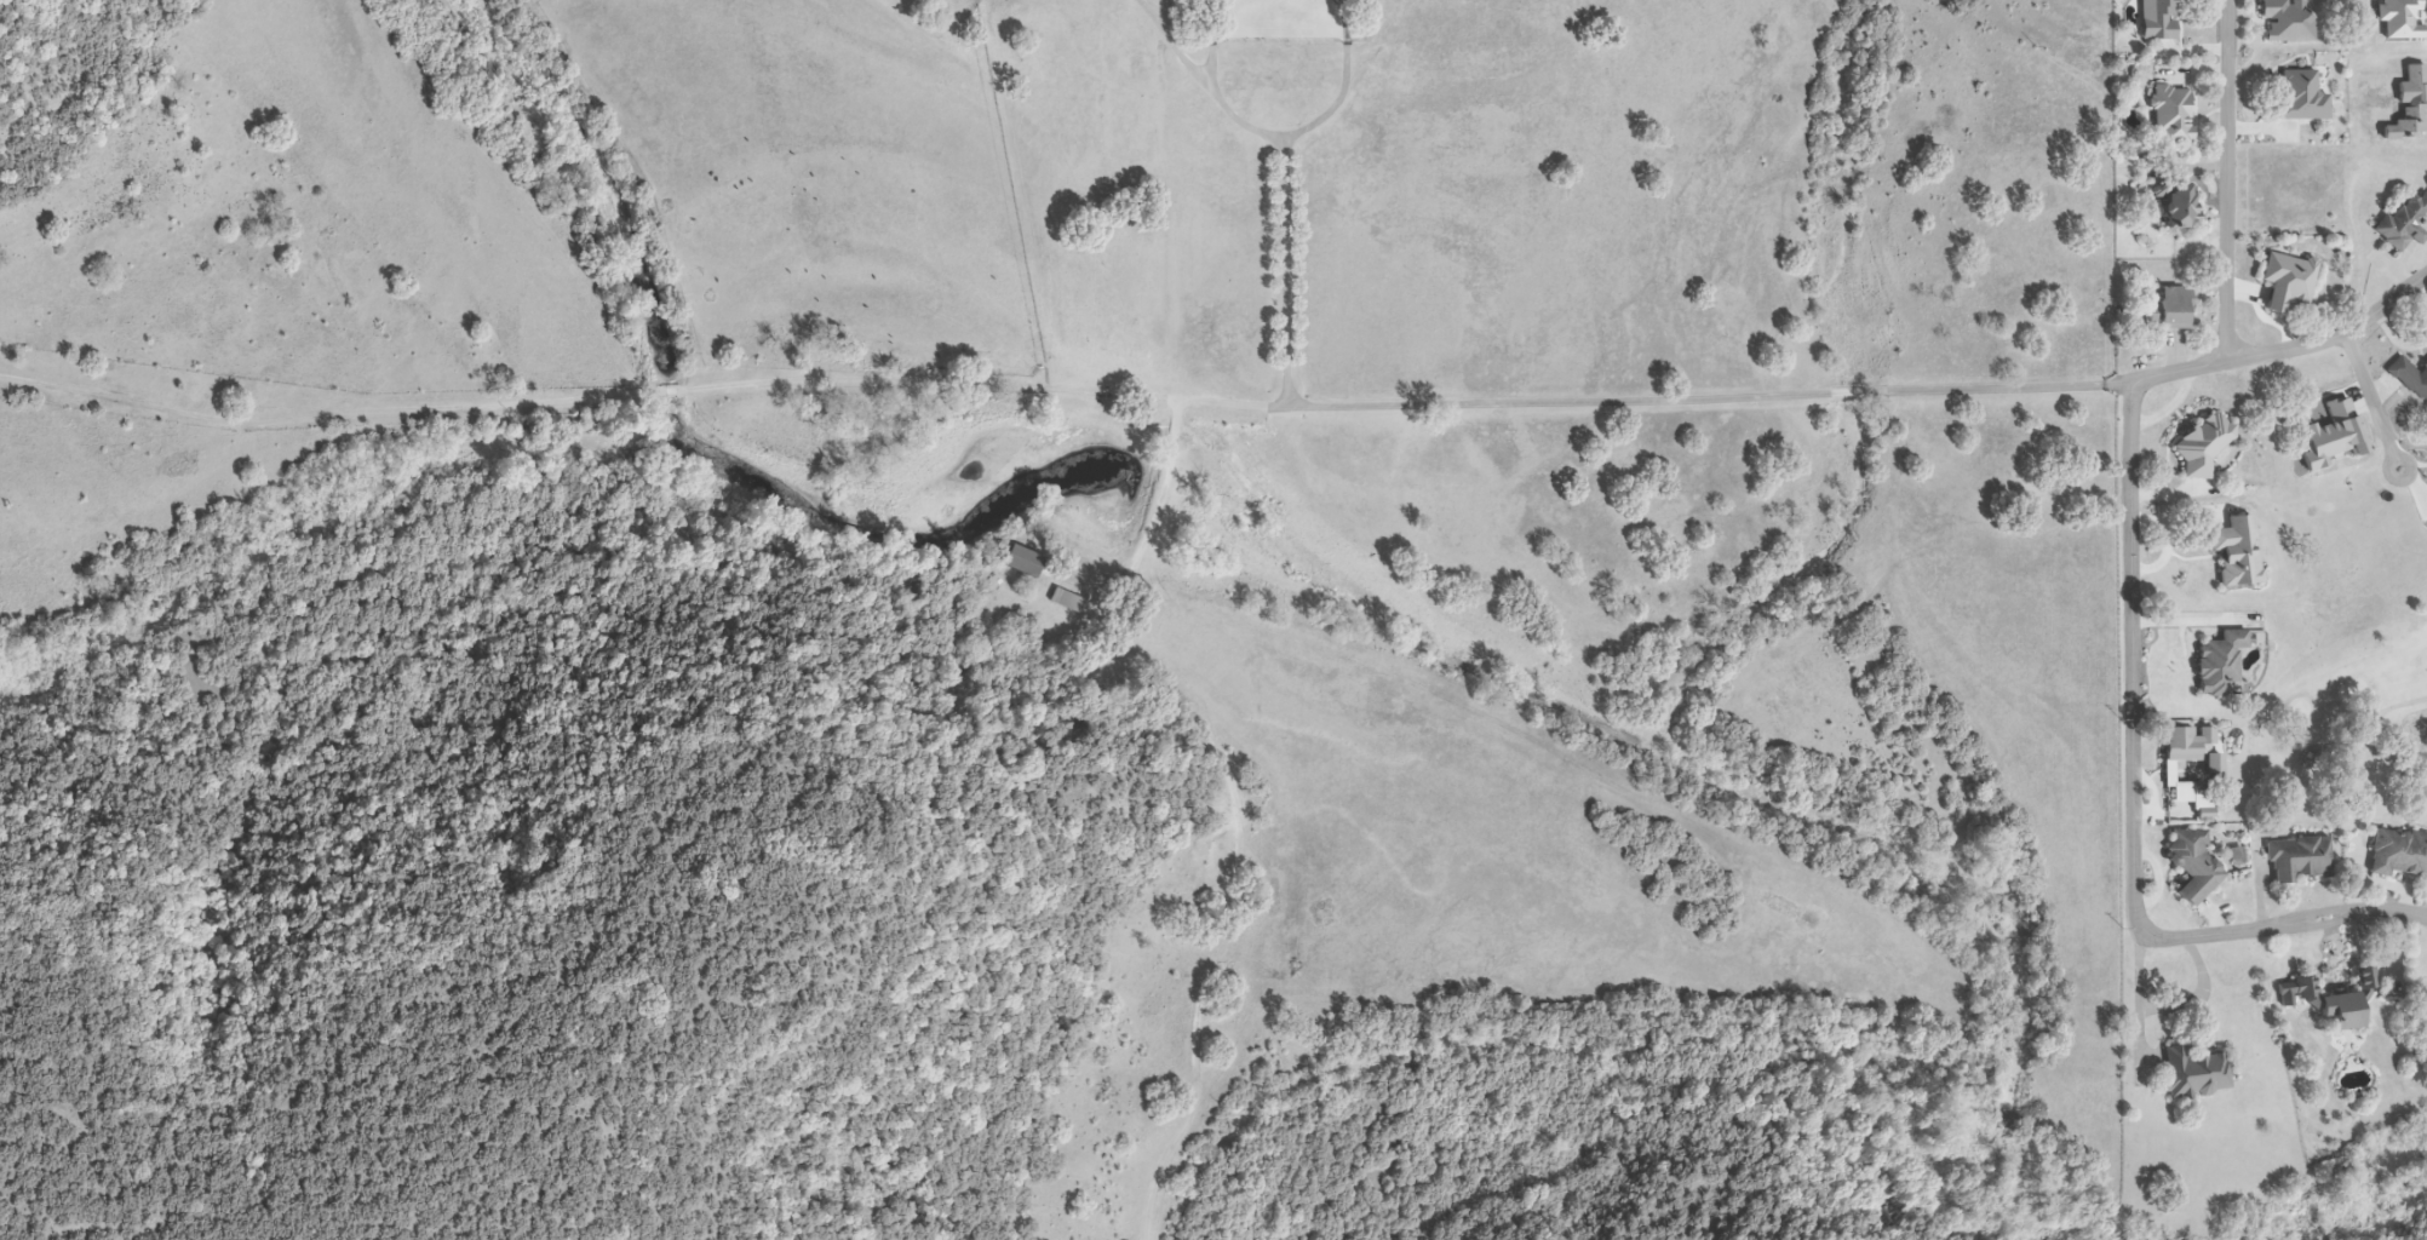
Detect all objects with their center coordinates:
road: (1344, 19)
road: (1212, 21)
building: (2156, 21)
building: (2284, 21)
road: (1207, 59)
building: (2299, 97)
building: (2409, 105)
road: (1331, 107)
building: (2170, 115)
road: (1293, 170)
road: (2227, 182)
building: (2173, 205)
building: (2404, 224)
building: (2285, 282)
building: (2167, 310)
road: (2289, 349)
building: (2425, 377)
road: (589, 385)
building: (2425, 392)
road: (2374, 394)
road: (1657, 400)
building: (2203, 447)
road: (1157, 500)
building: (2236, 552)
building: (1017, 562)
building: (1068, 601)
building: (2217, 664)
building: (2191, 767)
road: (2134, 803)
building: (2398, 854)
building: (2300, 861)
building: (2193, 866)
road: (2141, 994)
road: (2202, 1000)
building: (2335, 1000)
building: (2425, 1044)
building: (2192, 1073)

